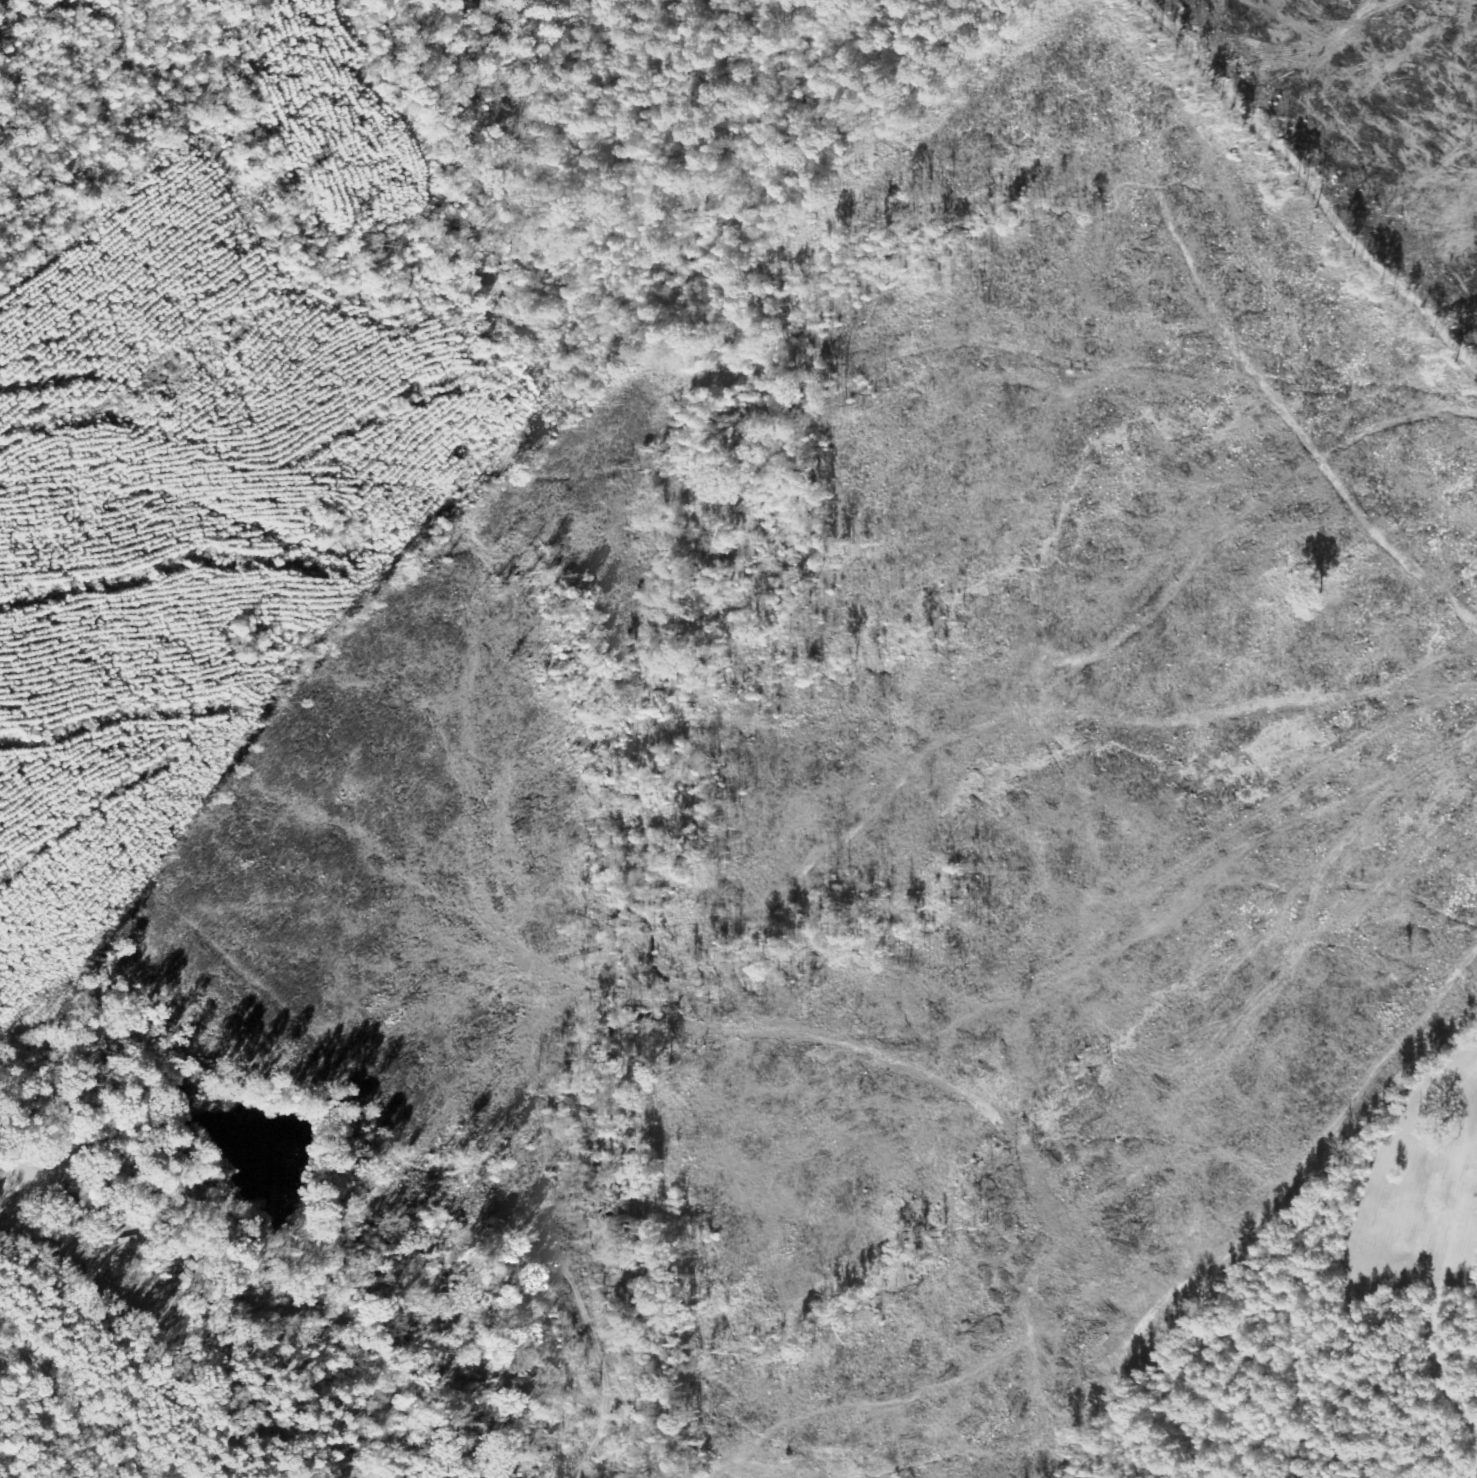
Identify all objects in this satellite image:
road: (37, 1226)
road: (257, 1323)

